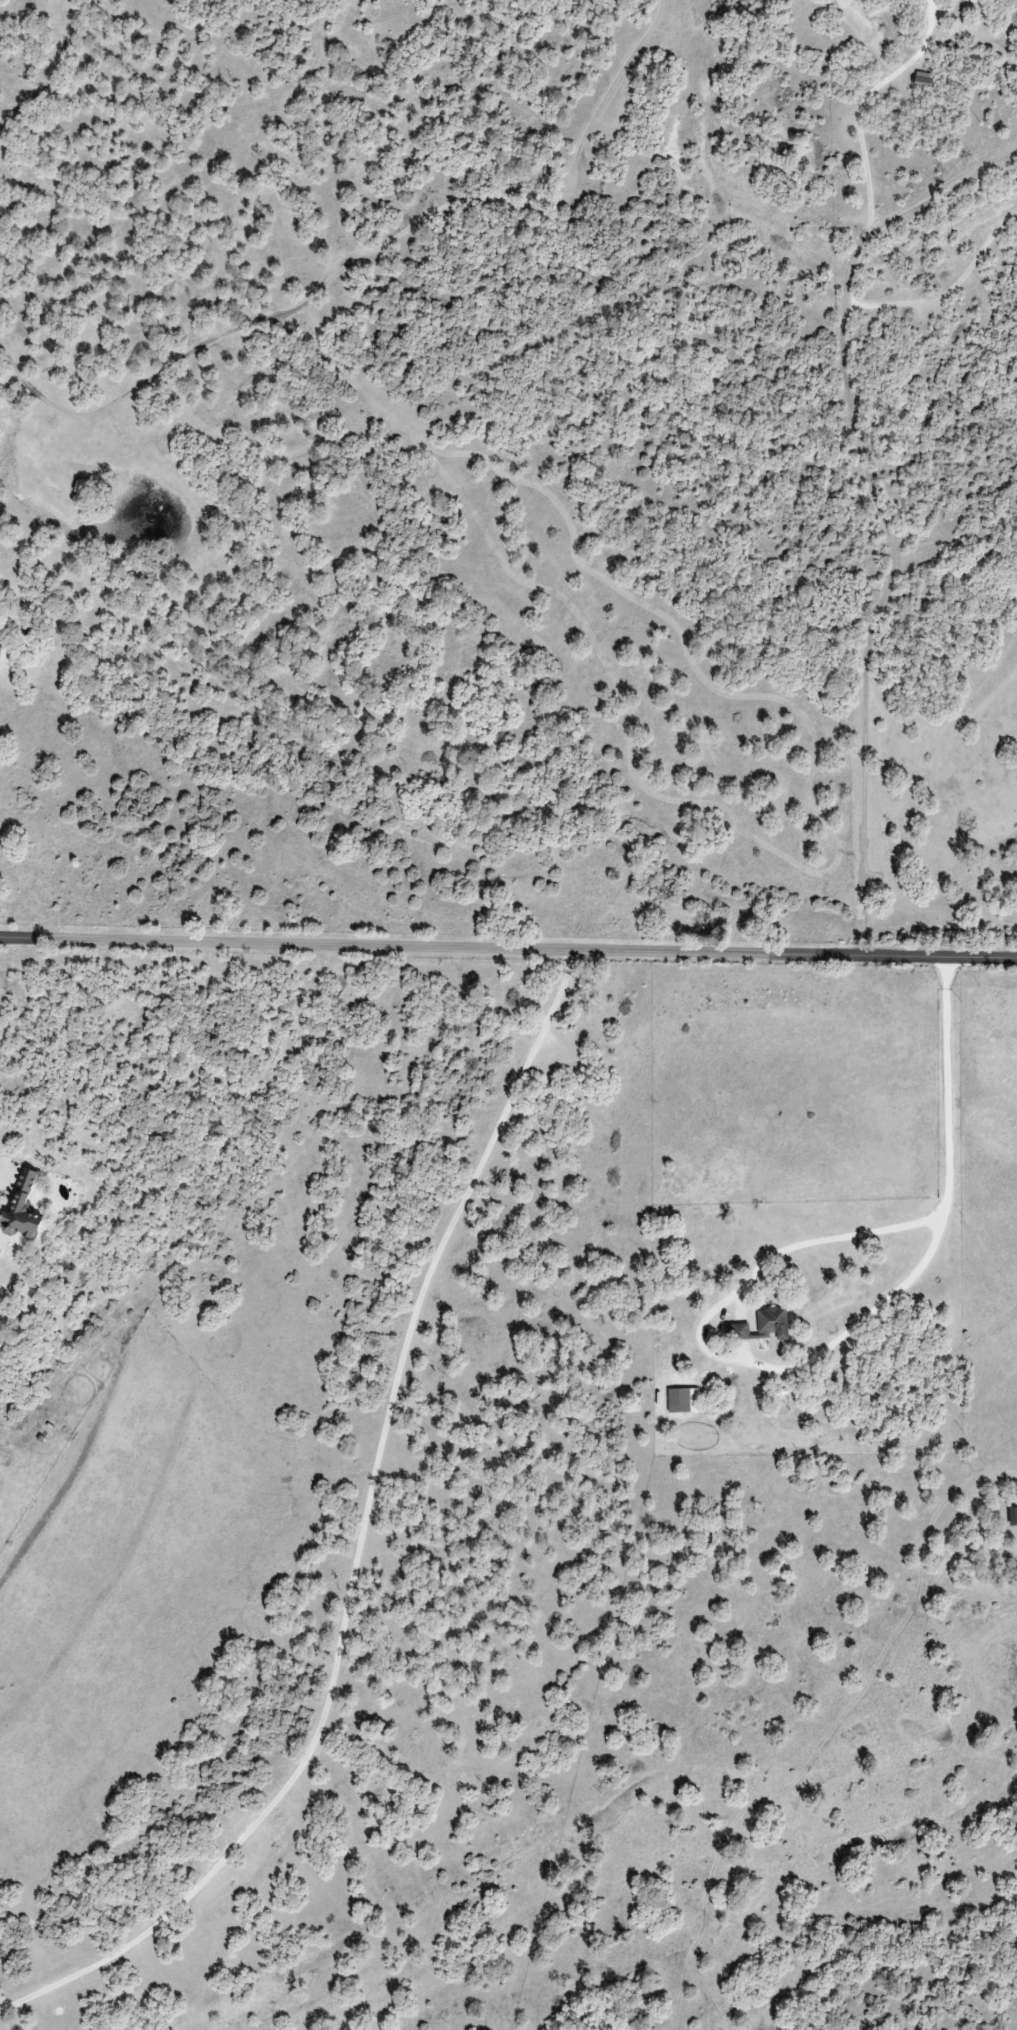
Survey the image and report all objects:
road: (864, 463)
building: (0, 643)
road: (508, 950)
building: (23, 1212)
building: (762, 1328)
road: (832, 1342)
building: (682, 1402)
building: (1012, 1517)
road: (362, 1541)

